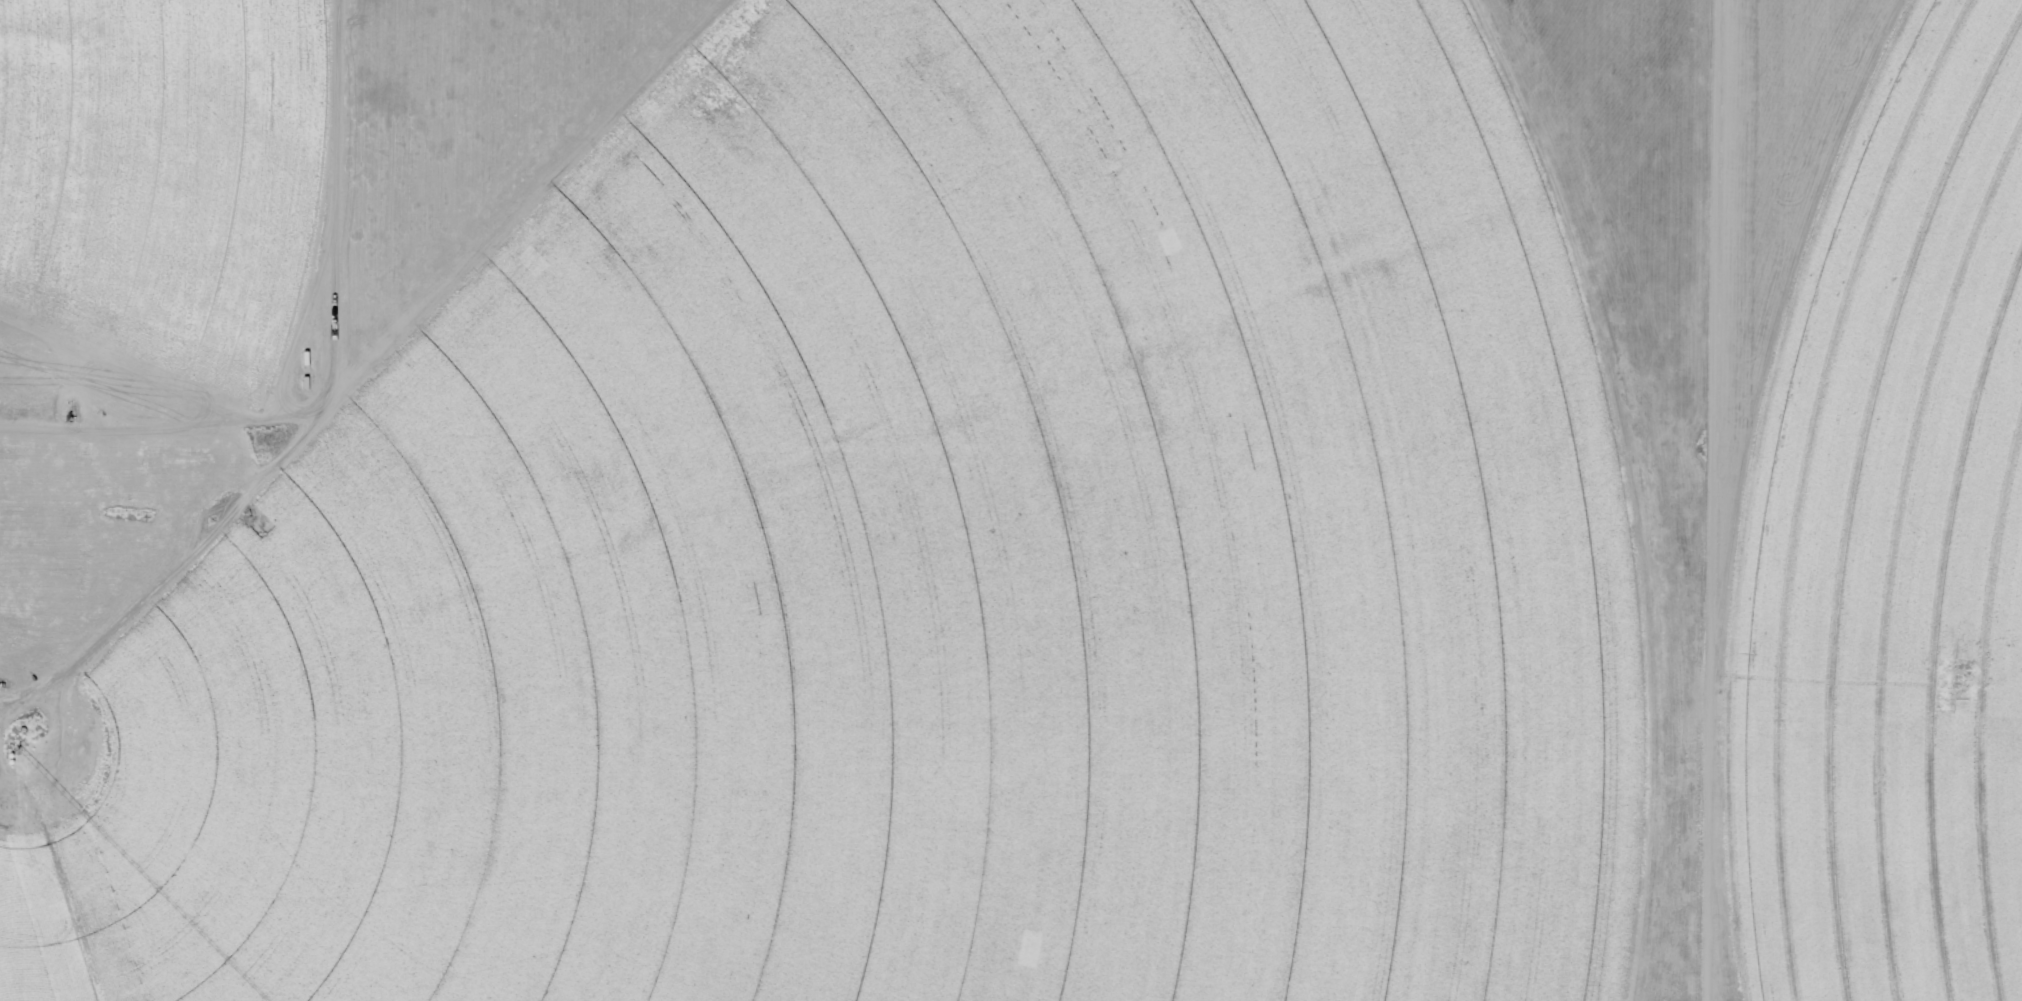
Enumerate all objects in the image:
road: (1737, 376)
road: (1722, 865)

